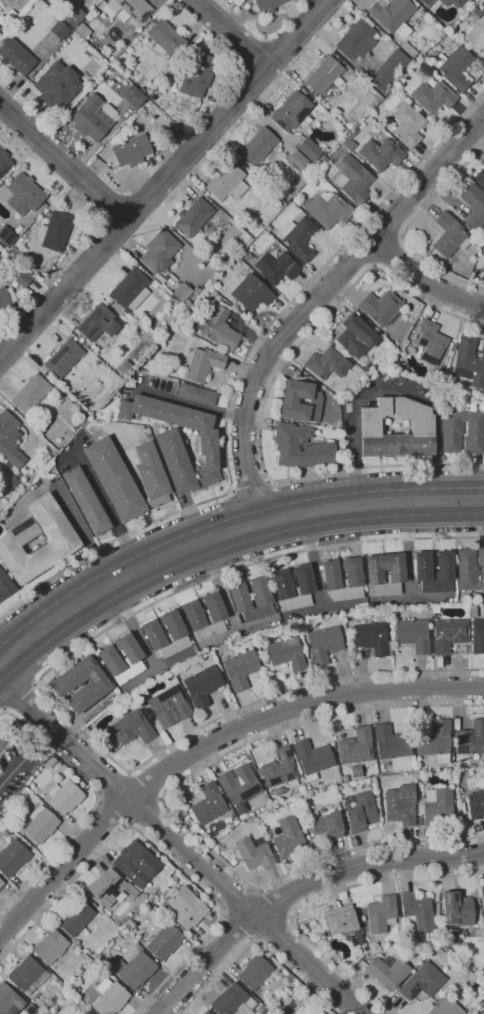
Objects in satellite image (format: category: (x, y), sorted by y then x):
road: (366, 3)
building: (439, 3)
building: (268, 5)
building: (131, 8)
building: (108, 11)
building: (422, 12)
building: (73, 15)
building: (392, 15)
building: (2, 20)
building: (447, 26)
building: (59, 30)
building: (82, 31)
building: (439, 32)
road: (230, 34)
building: (0, 36)
building: (476, 36)
building: (357, 39)
building: (166, 40)
building: (407, 49)
building: (16, 56)
building: (423, 57)
building: (116, 64)
building: (429, 64)
building: (454, 67)
building: (388, 70)
building: (197, 75)
building: (325, 76)
building: (57, 85)
building: (133, 96)
building: (432, 97)
building: (290, 111)
building: (93, 118)
building: (407, 125)
building: (346, 140)
building: (258, 146)
building: (309, 149)
building: (342, 150)
building: (131, 151)
building: (380, 154)
building: (322, 159)
building: (296, 161)
building: (4, 162)
road: (63, 162)
building: (317, 164)
building: (479, 177)
road: (164, 180)
building: (352, 180)
building: (226, 182)
building: (21, 194)
building: (276, 204)
building: (473, 205)
building: (328, 209)
building: (193, 217)
road: (390, 223)
road: (409, 224)
building: (257, 225)
building: (55, 231)
building: (449, 235)
building: (6, 236)
building: (298, 238)
building: (476, 244)
building: (13, 251)
building: (160, 251)
road: (361, 253)
building: (0, 254)
building: (207, 257)
road: (398, 260)
building: (480, 262)
building: (275, 268)
road: (425, 278)
building: (22, 279)
building: (130, 291)
building: (181, 293)
building: (251, 293)
building: (6, 298)
building: (186, 303)
road: (311, 305)
building: (380, 307)
building: (97, 323)
building: (217, 328)
building: (356, 337)
building: (429, 342)
building: (64, 358)
building: (393, 362)
building: (468, 362)
building: (149, 363)
building: (203, 364)
building: (325, 365)
building: (124, 367)
building: (365, 367)
road: (237, 377)
road: (392, 391)
building: (30, 393)
building: (196, 395)
road: (266, 399)
building: (288, 402)
road: (191, 403)
building: (81, 413)
building: (421, 427)
building: (451, 428)
building: (9, 441)
building: (178, 441)
building: (301, 447)
building: (128, 478)
road: (251, 487)
building: (86, 501)
road: (102, 502)
road: (226, 523)
building: (63, 539)
road: (221, 549)
building: (470, 569)
building: (434, 572)
building: (384, 574)
building: (342, 579)
building: (5, 585)
building: (303, 590)
building: (251, 598)
building: (464, 606)
building: (435, 609)
building: (472, 611)
building: (204, 616)
building: (176, 633)
building: (448, 634)
building: (413, 635)
building: (371, 637)
building: (477, 637)
building: (324, 644)
building: (286, 654)
building: (110, 658)
building: (240, 669)
building: (82, 684)
building: (202, 686)
road: (19, 693)
road: (43, 693)
building: (170, 706)
building: (133, 728)
road: (44, 738)
building: (470, 738)
building: (434, 741)
building: (390, 742)
road: (208, 744)
building: (356, 746)
building: (312, 758)
building: (52, 762)
road: (17, 768)
building: (278, 768)
road: (113, 785)
building: (240, 785)
building: (65, 797)
road: (94, 804)
building: (211, 804)
building: (401, 804)
building: (475, 804)
building: (438, 807)
road: (169, 810)
road: (114, 811)
road: (146, 812)
building: (361, 812)
building: (42, 824)
building: (327, 824)
building: (288, 836)
road: (183, 844)
road: (158, 850)
building: (255, 852)
building: (13, 857)
building: (234, 862)
building: (136, 863)
building: (1, 883)
building: (112, 888)
road: (298, 888)
building: (482, 896)
road: (315, 900)
building: (187, 907)
building: (457, 910)
building: (418, 911)
building: (382, 914)
building: (76, 917)
building: (363, 918)
building: (345, 924)
road: (237, 926)
road: (278, 932)
building: (165, 941)
road: (258, 943)
building: (51, 946)
building: (74, 947)
building: (136, 969)
building: (389, 971)
building: (26, 972)
building: (255, 972)
building: (422, 981)
building: (110, 997)
building: (9, 999)
building: (234, 1001)
building: (444, 1006)
building: (261, 1008)
building: (309, 1009)
building: (266, 1011)
building: (88, 1012)
building: (207, 1012)

